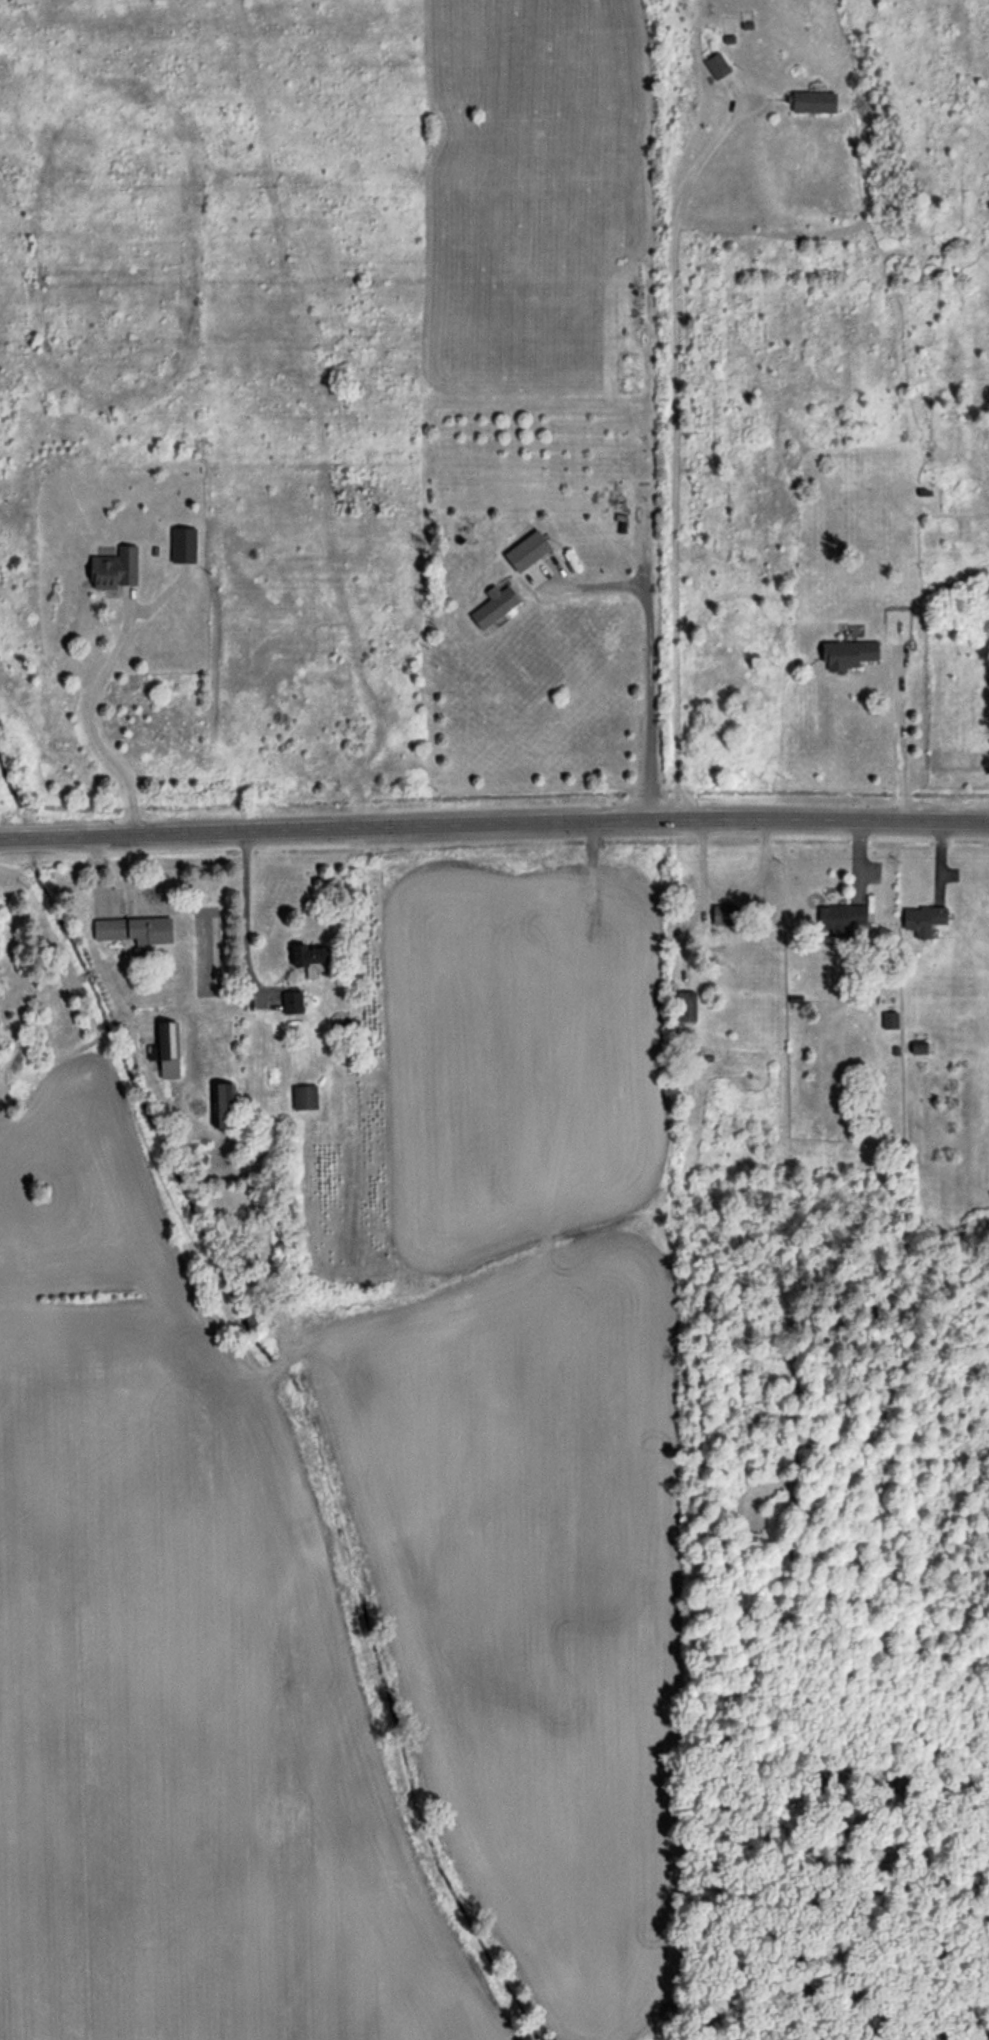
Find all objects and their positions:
building: (717, 65)
building: (812, 101)
road: (671, 452)
building: (183, 544)
building: (527, 550)
building: (115, 568)
building: (494, 605)
building: (849, 653)
road: (646, 667)
road: (89, 722)
road: (896, 737)
road: (494, 819)
road: (241, 912)
building: (724, 914)
building: (841, 917)
building: (924, 919)
building: (135, 929)
building: (309, 958)
building: (292, 1002)
building: (686, 1006)
building: (890, 1019)
building: (164, 1042)
building: (304, 1096)
building: (221, 1104)

